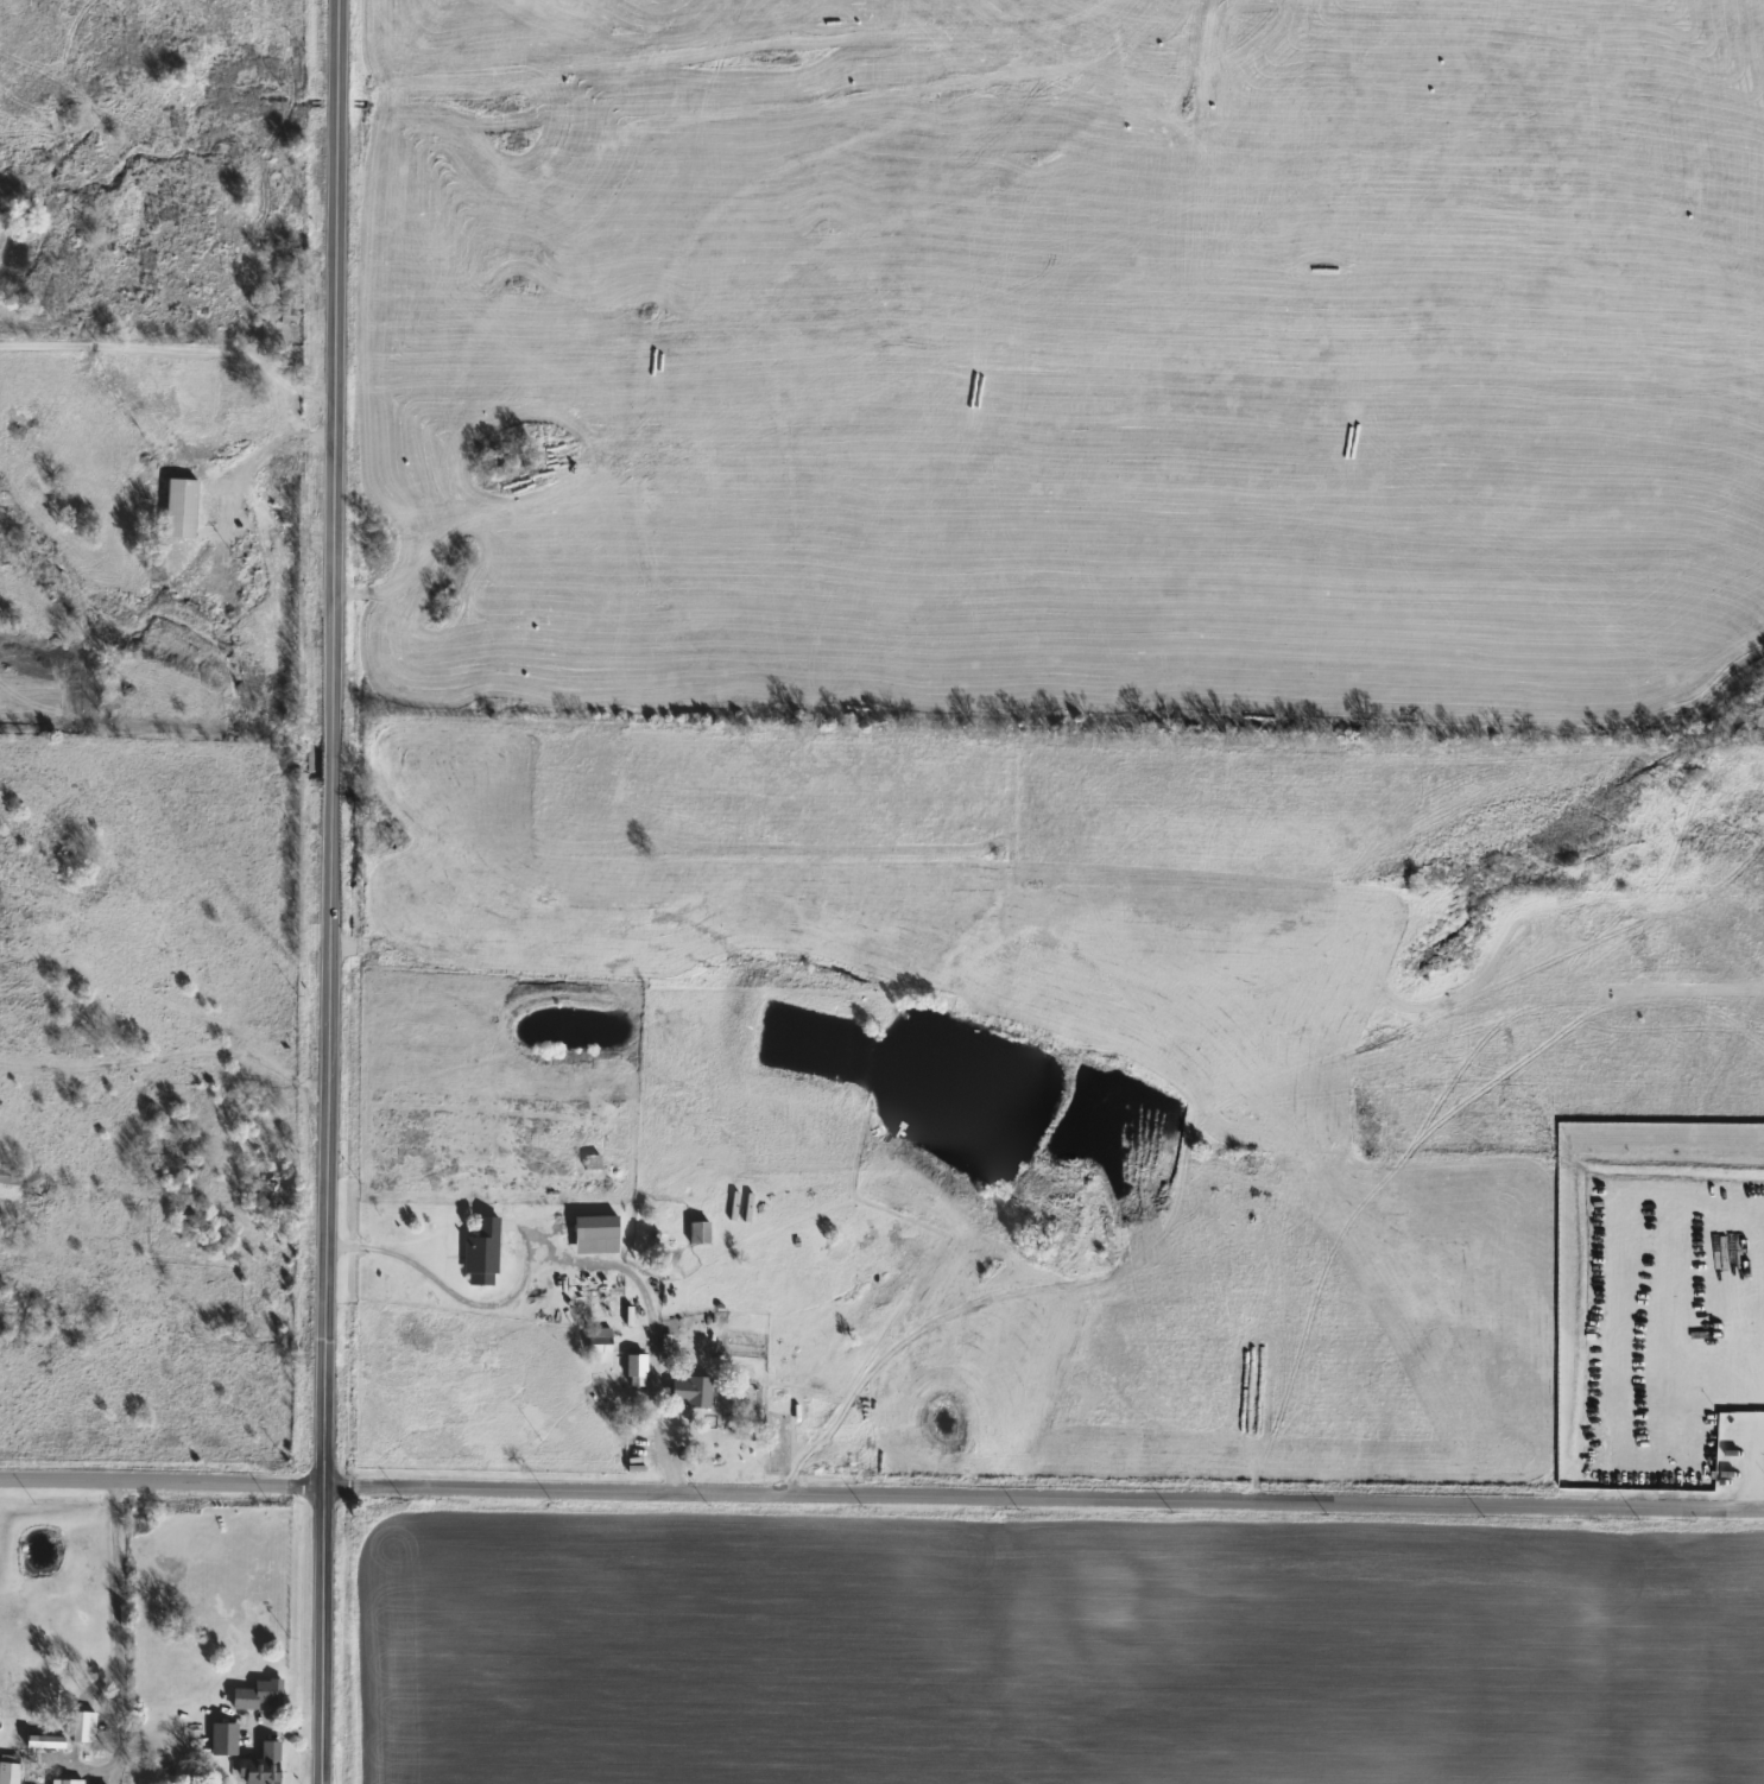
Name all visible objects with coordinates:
building: (273, 254)
road: (153, 347)
building: (222, 391)
building: (115, 393)
road: (315, 397)
road: (292, 432)
road: (253, 458)
building: (175, 507)
road: (331, 892)
building: (588, 1163)
building: (8, 1173)
building: (589, 1228)
building: (694, 1233)
building: (476, 1254)
road: (404, 1260)
building: (595, 1347)
road: (652, 1355)
building: (631, 1372)
building: (685, 1392)
road: (162, 1480)
road: (1043, 1505)
road: (107, 1595)
building: (255, 1695)
building: (77, 1728)
building: (220, 1740)
building: (255, 1766)
building: (6, 1773)

